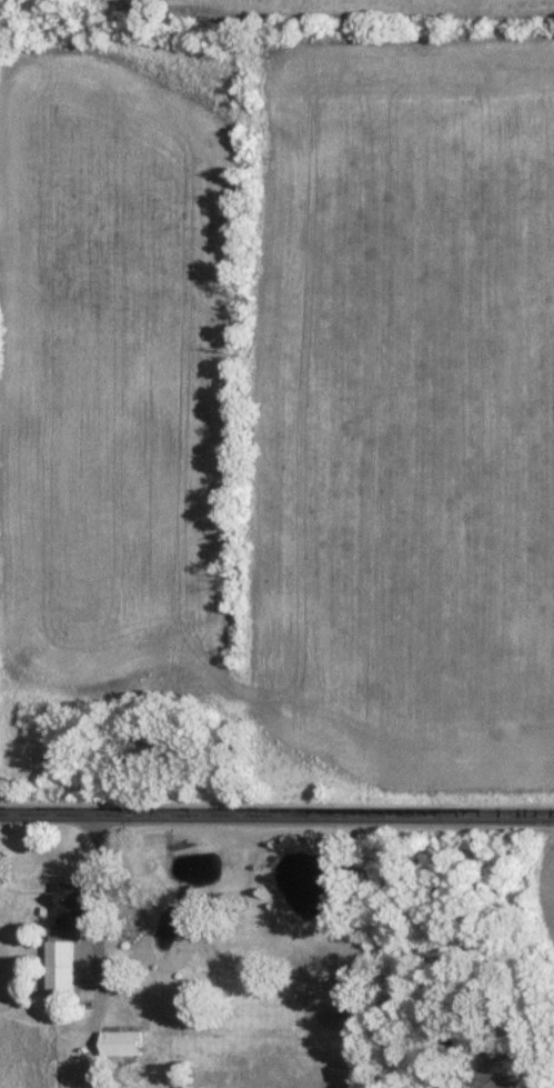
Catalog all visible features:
road: (276, 818)
building: (64, 937)
building: (120, 1042)

